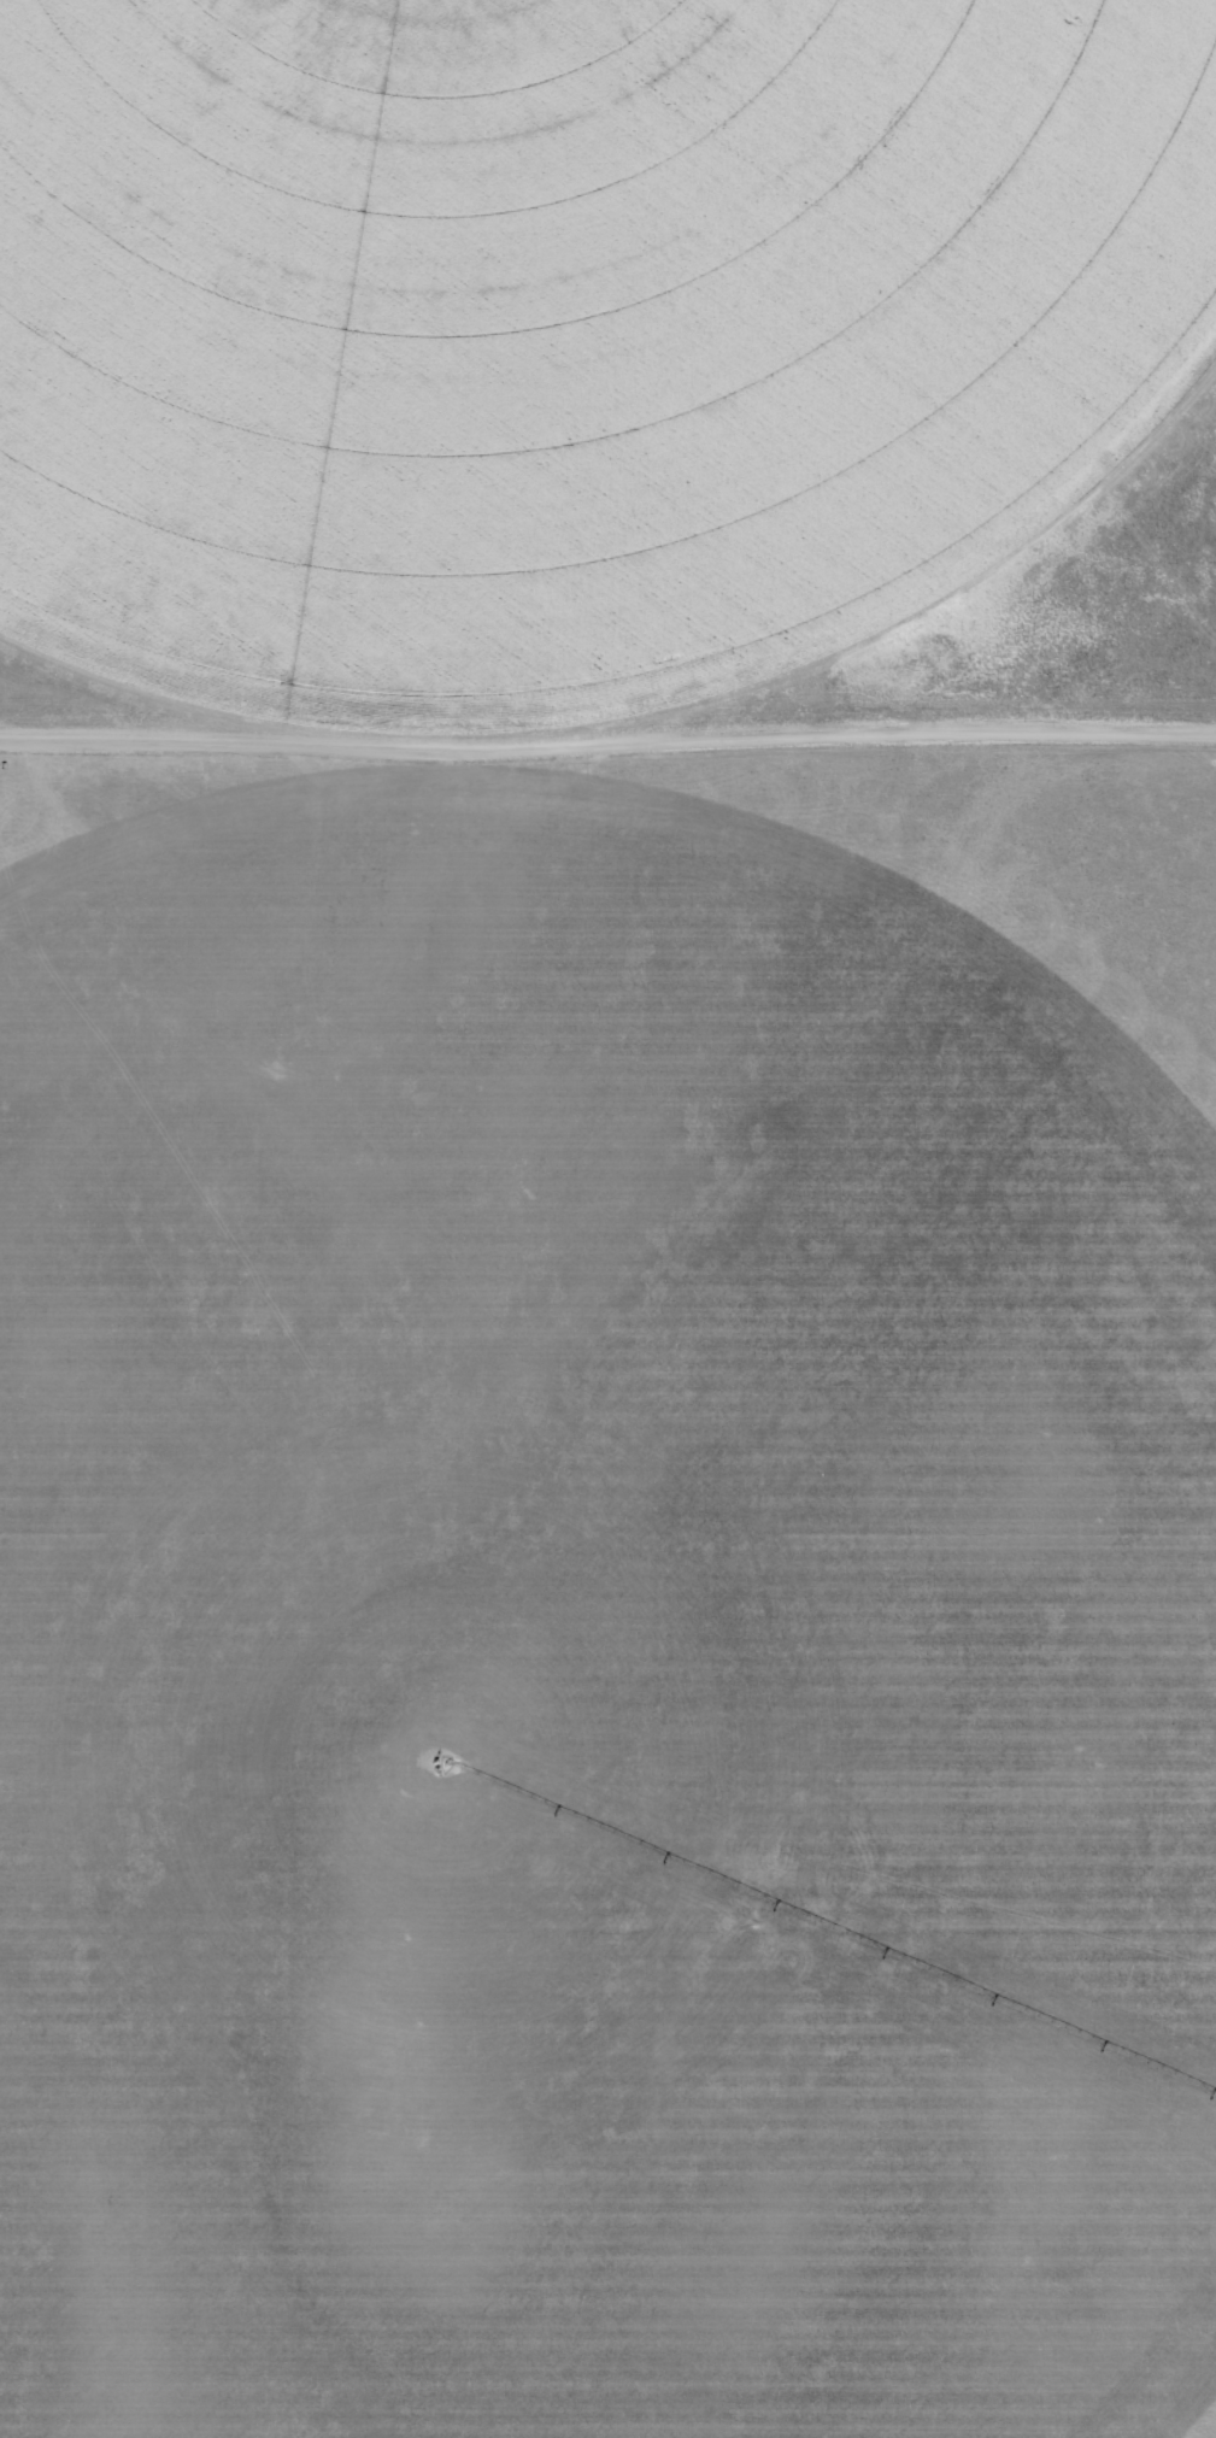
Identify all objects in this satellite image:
road: (607, 762)

